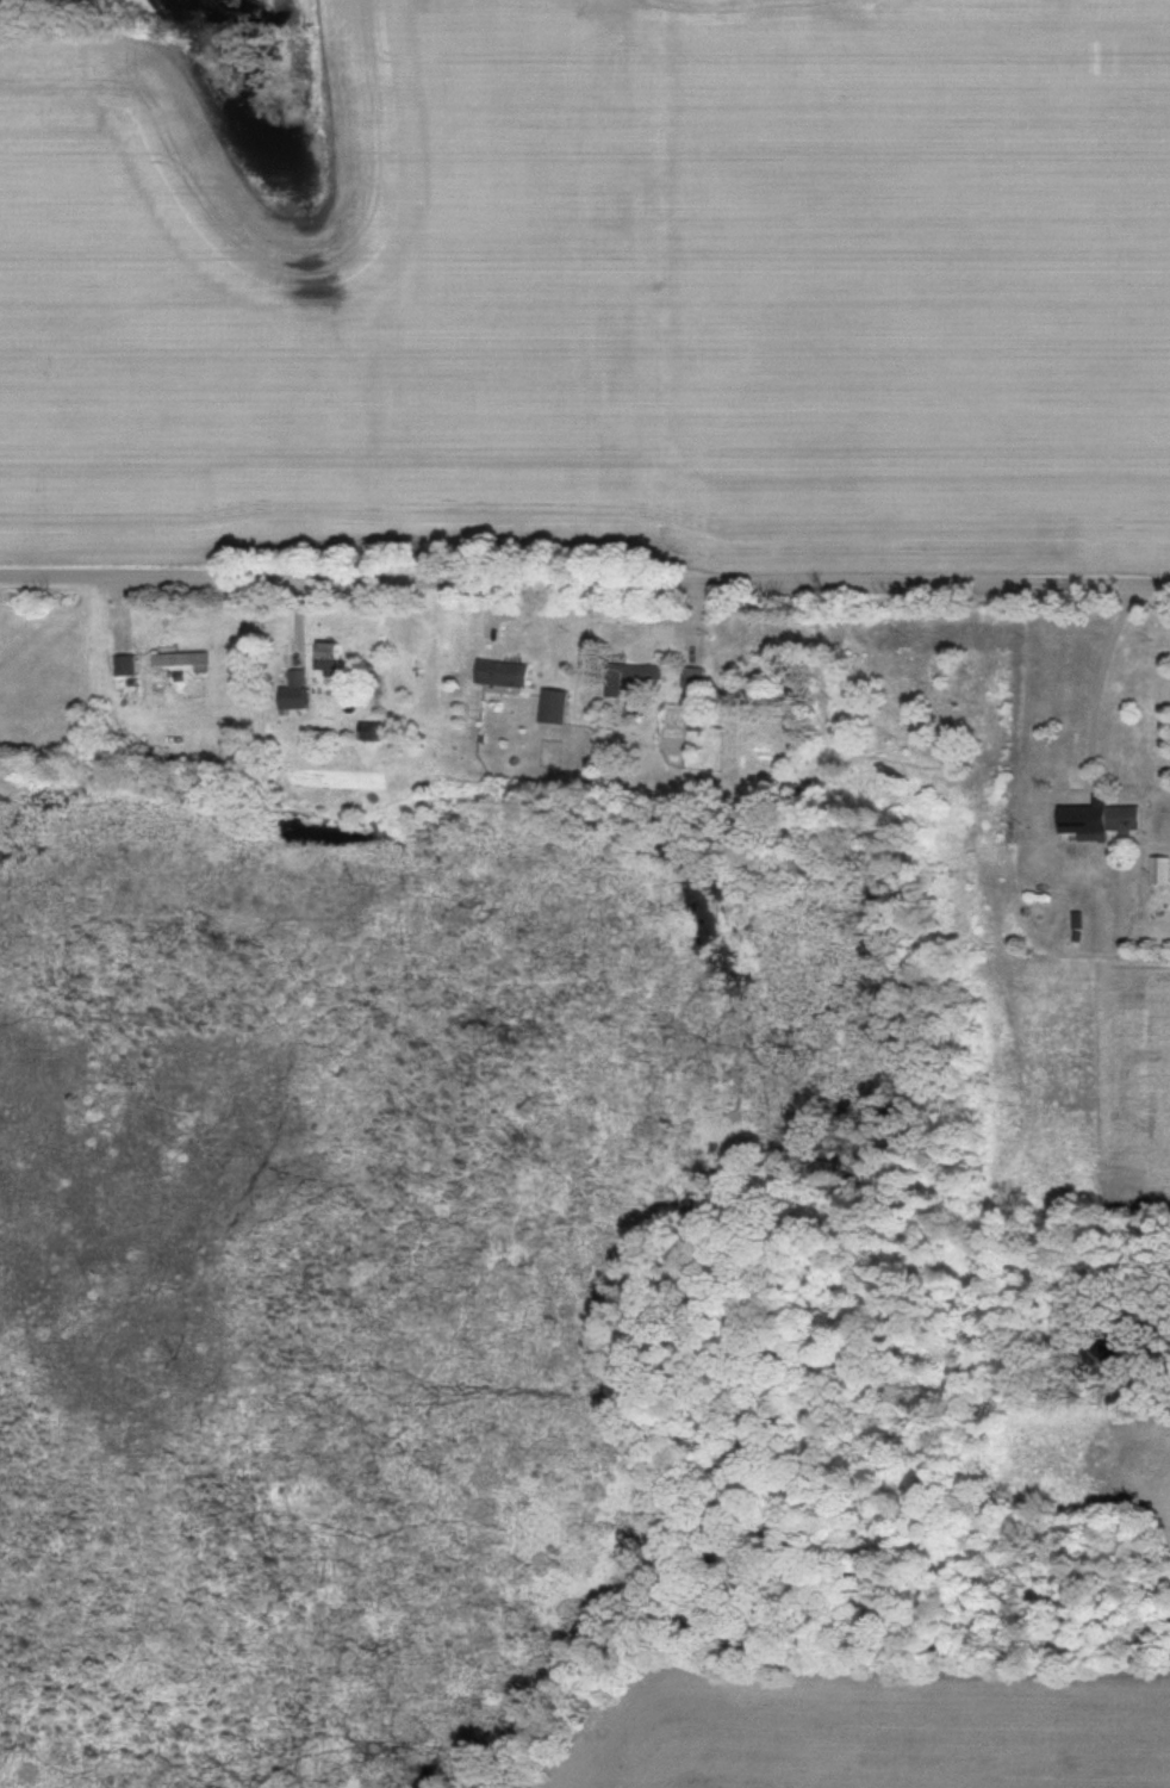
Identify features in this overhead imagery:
crop: (926, 292)
crop: (335, 298)
road: (585, 576)
building: (330, 656)
building: (182, 659)
building: (126, 666)
building: (503, 673)
building: (630, 677)
road: (1099, 677)
building: (695, 678)
building: (298, 691)
building: (373, 731)
building: (1100, 821)
building: (1160, 871)
crop: (1087, 1081)
crop: (1126, 1458)
crop: (873, 1732)

